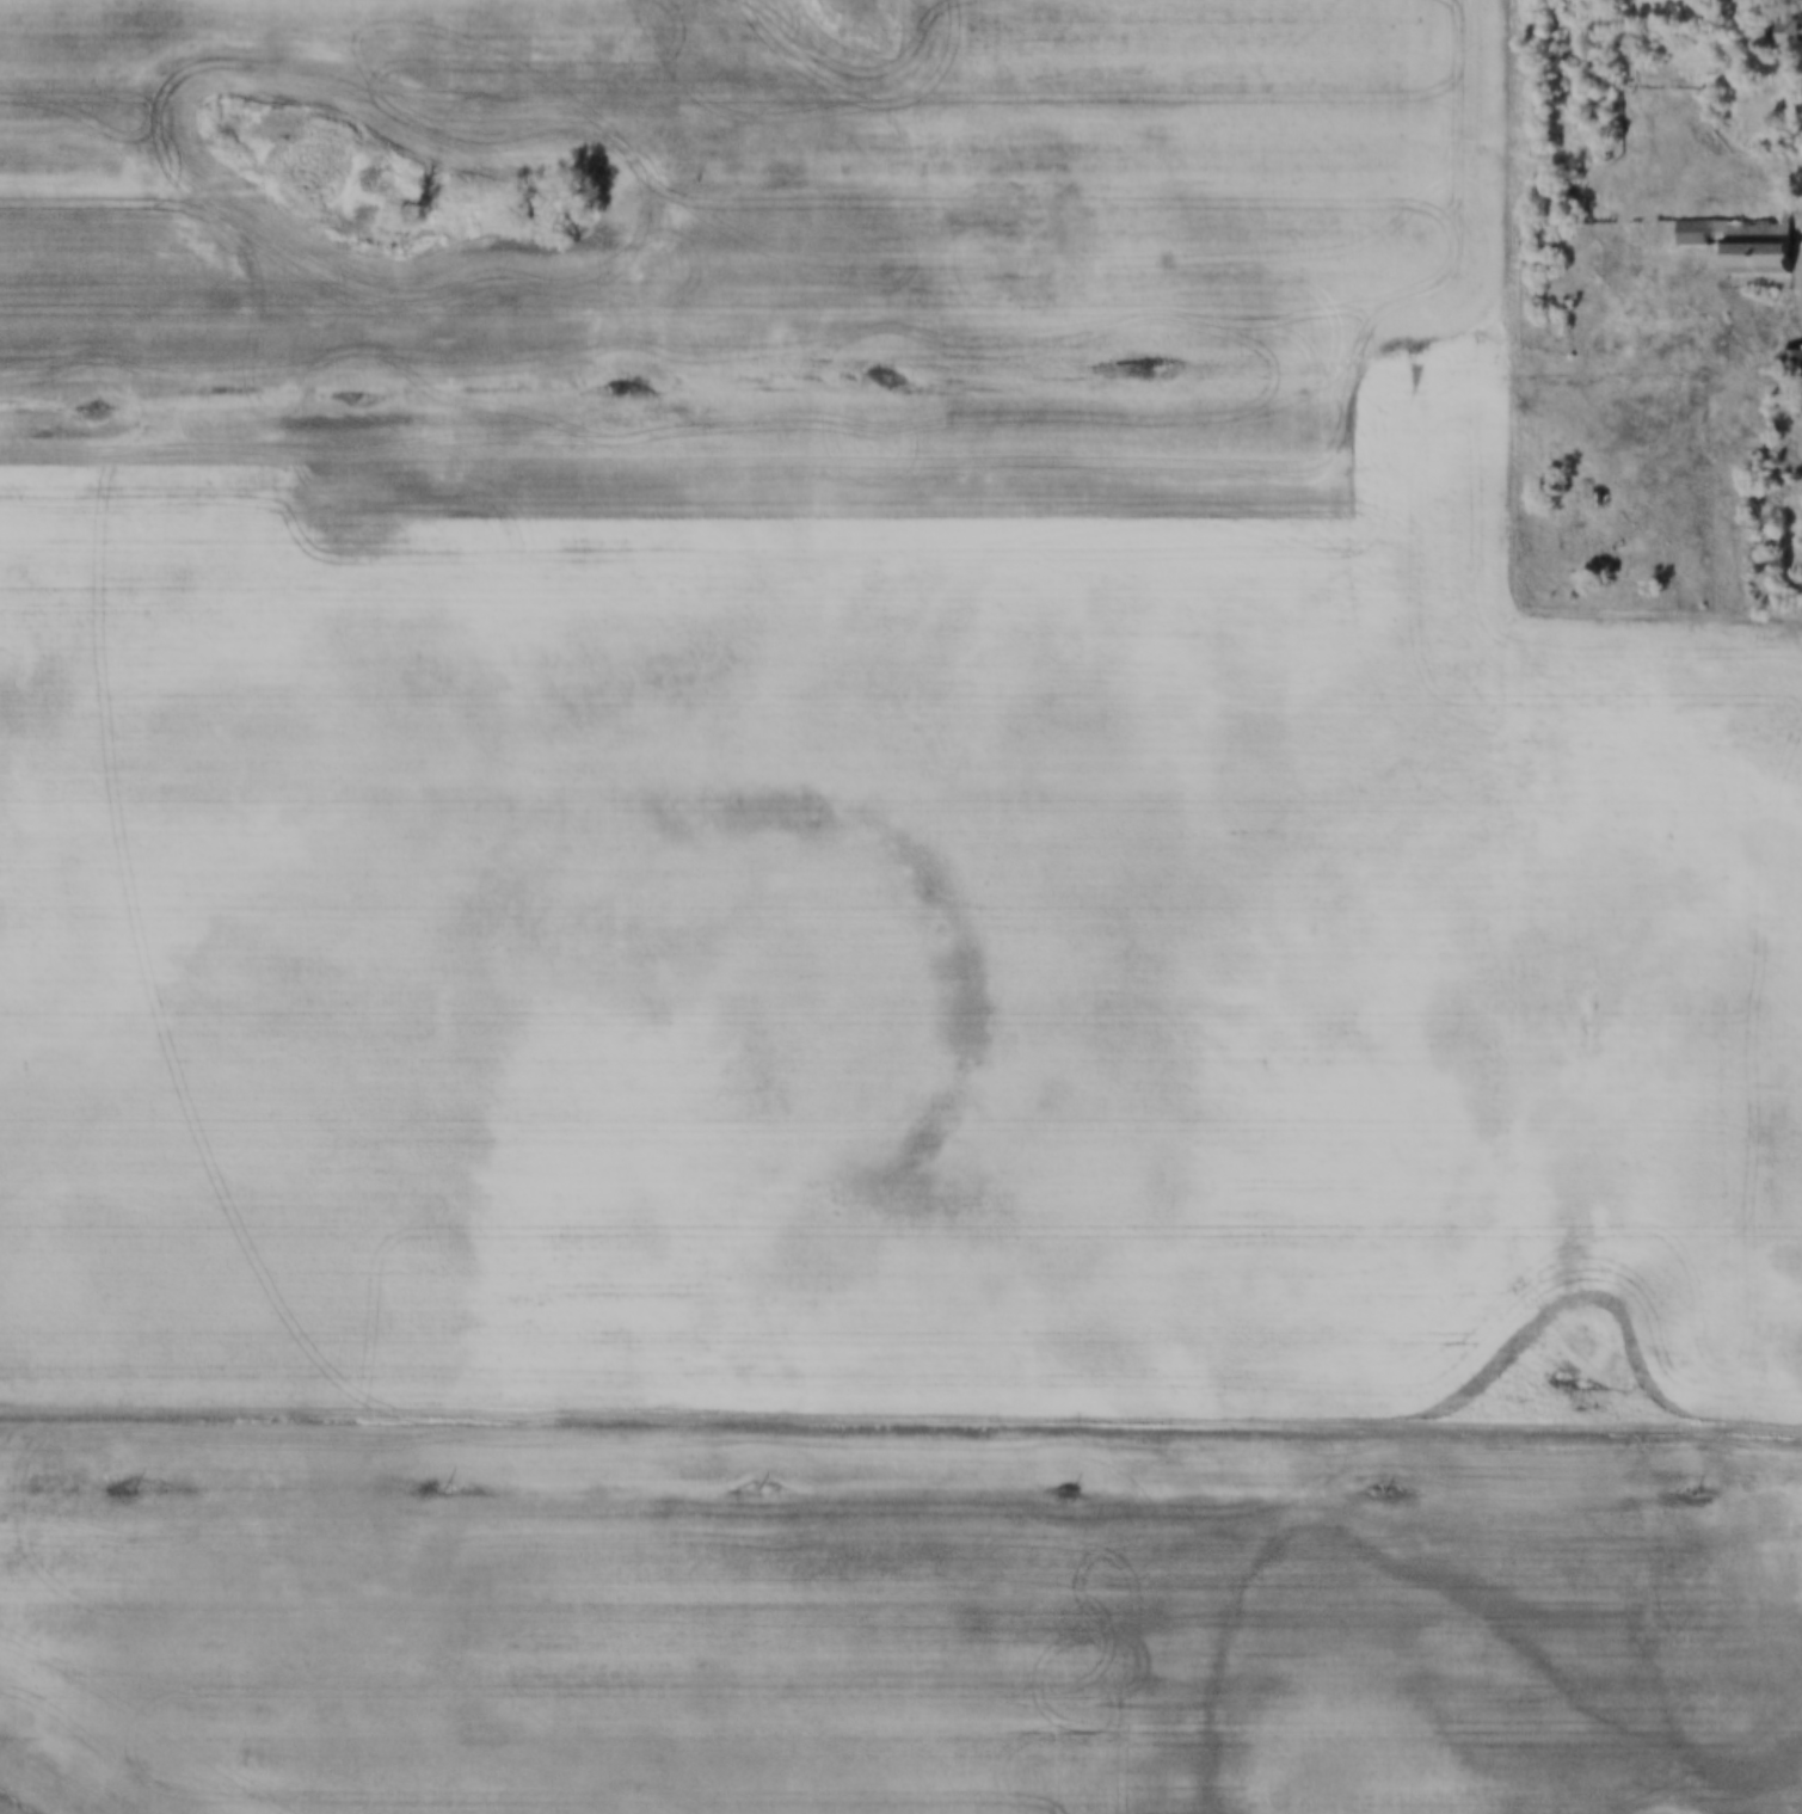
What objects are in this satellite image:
building: (1785, 30)
building: (1741, 244)
building: (1797, 359)
road: (900, 1420)

